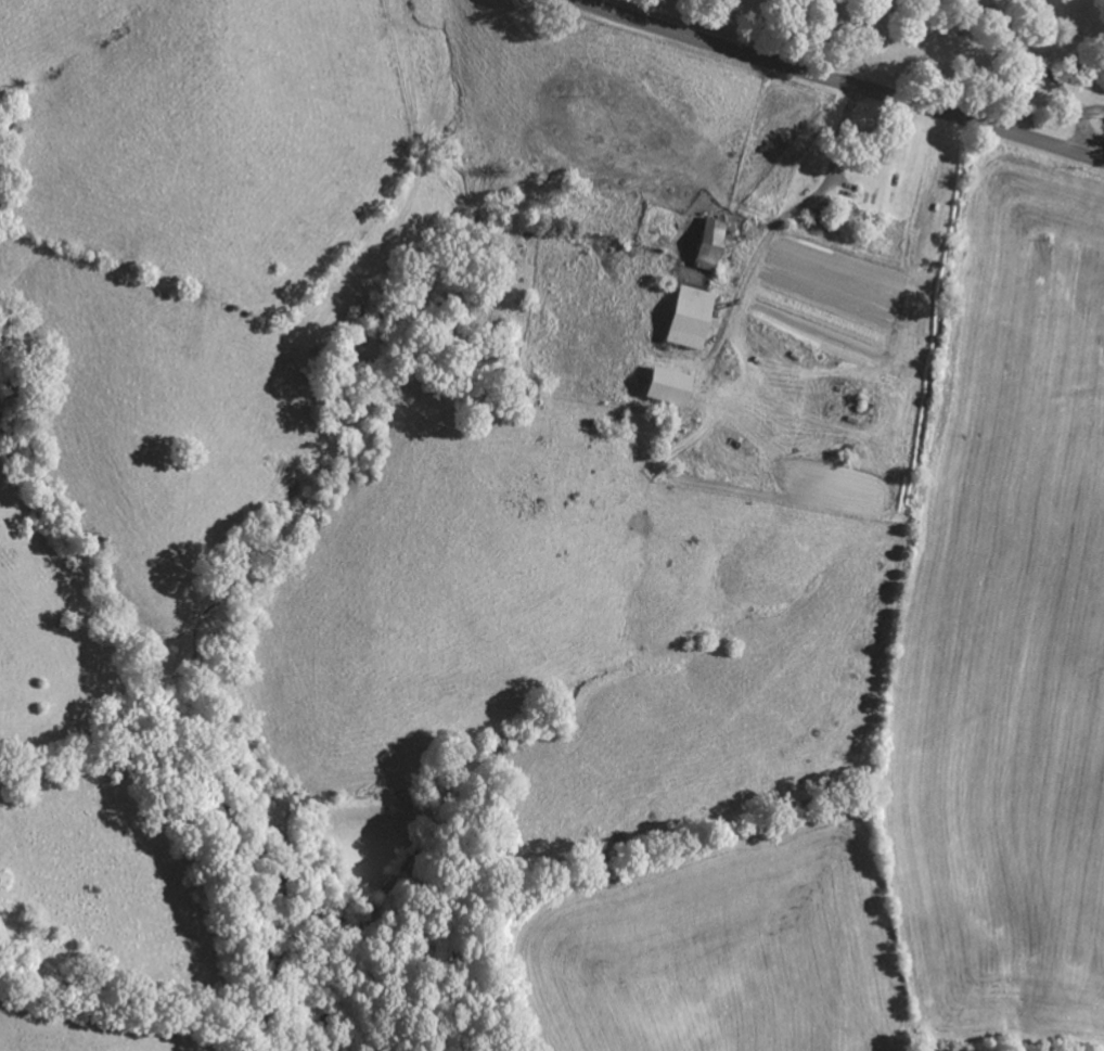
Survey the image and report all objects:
park: (948, 55)
road: (1052, 75)
road: (838, 85)
building: (708, 247)
building: (689, 321)
building: (667, 389)

